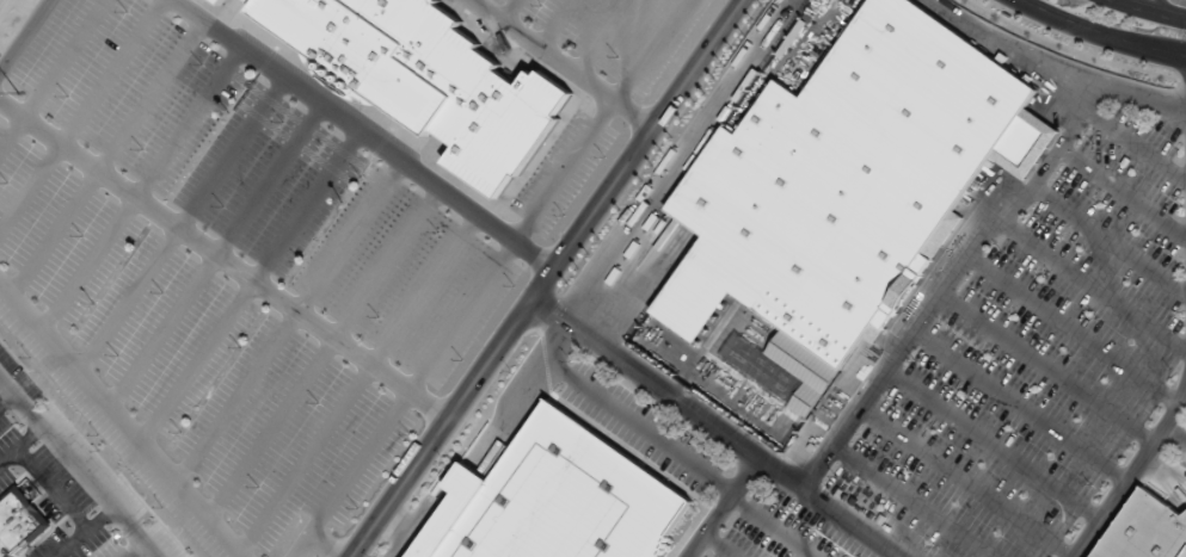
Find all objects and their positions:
building: (222, 0)
building: (220, 1)
road: (1145, 5)
road: (511, 11)
road: (1149, 11)
road: (555, 23)
road: (1104, 33)
road: (25, 35)
road: (602, 36)
road: (563, 63)
road: (1052, 72)
road: (51, 74)
building: (422, 76)
road: (1070, 88)
road: (1056, 107)
road: (81, 115)
road: (364, 134)
road: (1123, 140)
road: (1028, 146)
road: (106, 156)
road: (680, 163)
road: (141, 187)
building: (847, 187)
road: (1124, 192)
road: (1000, 197)
road: (183, 224)
road: (1110, 241)
road: (216, 255)
road: (223, 259)
road: (488, 278)
road: (547, 278)
road: (1093, 284)
road: (251, 286)
road: (939, 298)
road: (289, 321)
road: (1073, 329)
road: (324, 353)
road: (1047, 367)
road: (358, 384)
road: (6, 400)
road: (1021, 404)
road: (627, 417)
road: (121, 419)
road: (713, 428)
road: (1173, 433)
road: (994, 444)
road: (20, 446)
road: (78, 469)
road: (1130, 472)
road: (966, 482)
road: (55, 488)
building: (554, 500)
road: (915, 501)
road: (721, 508)
road: (401, 516)
building: (19, 522)
road: (774, 526)
road: (413, 528)
building: (1145, 530)
road: (84, 532)
road: (721, 544)
road: (325, 545)
road: (136, 550)

